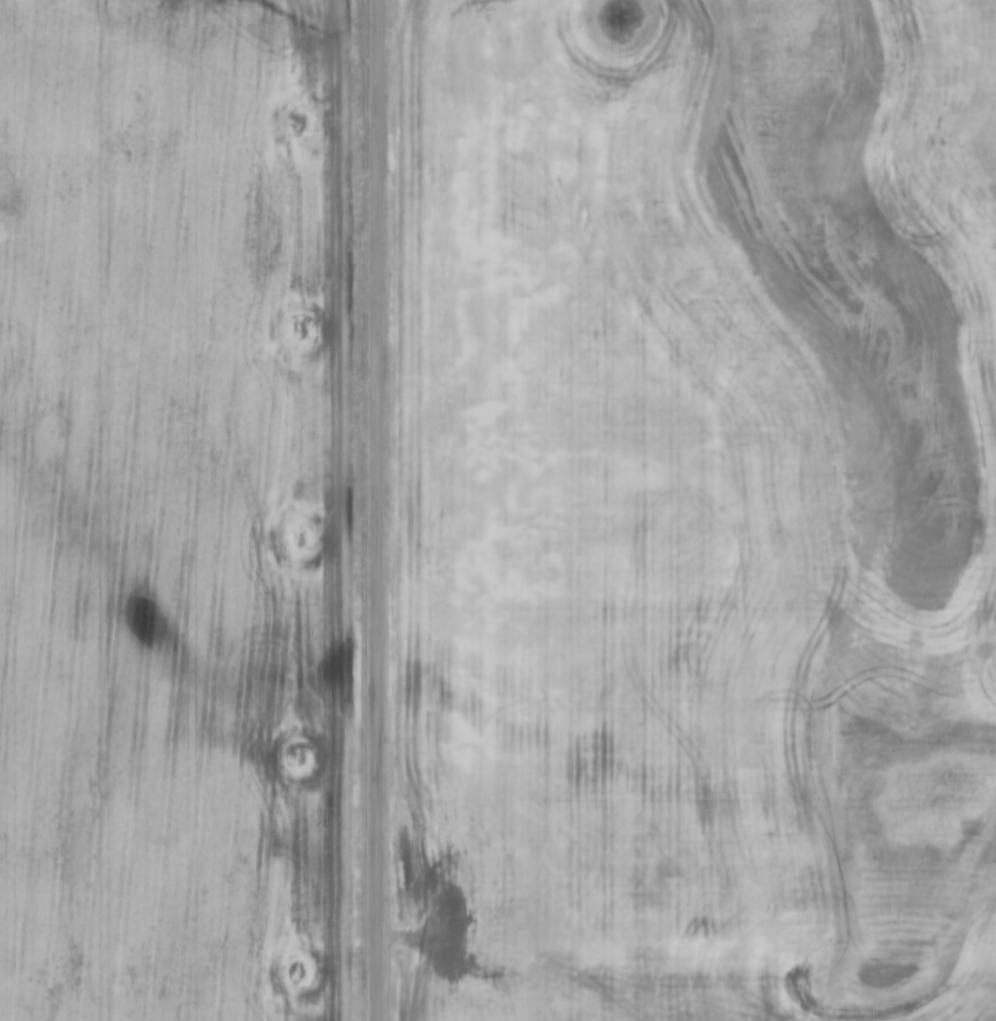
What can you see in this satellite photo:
road: (374, 510)

